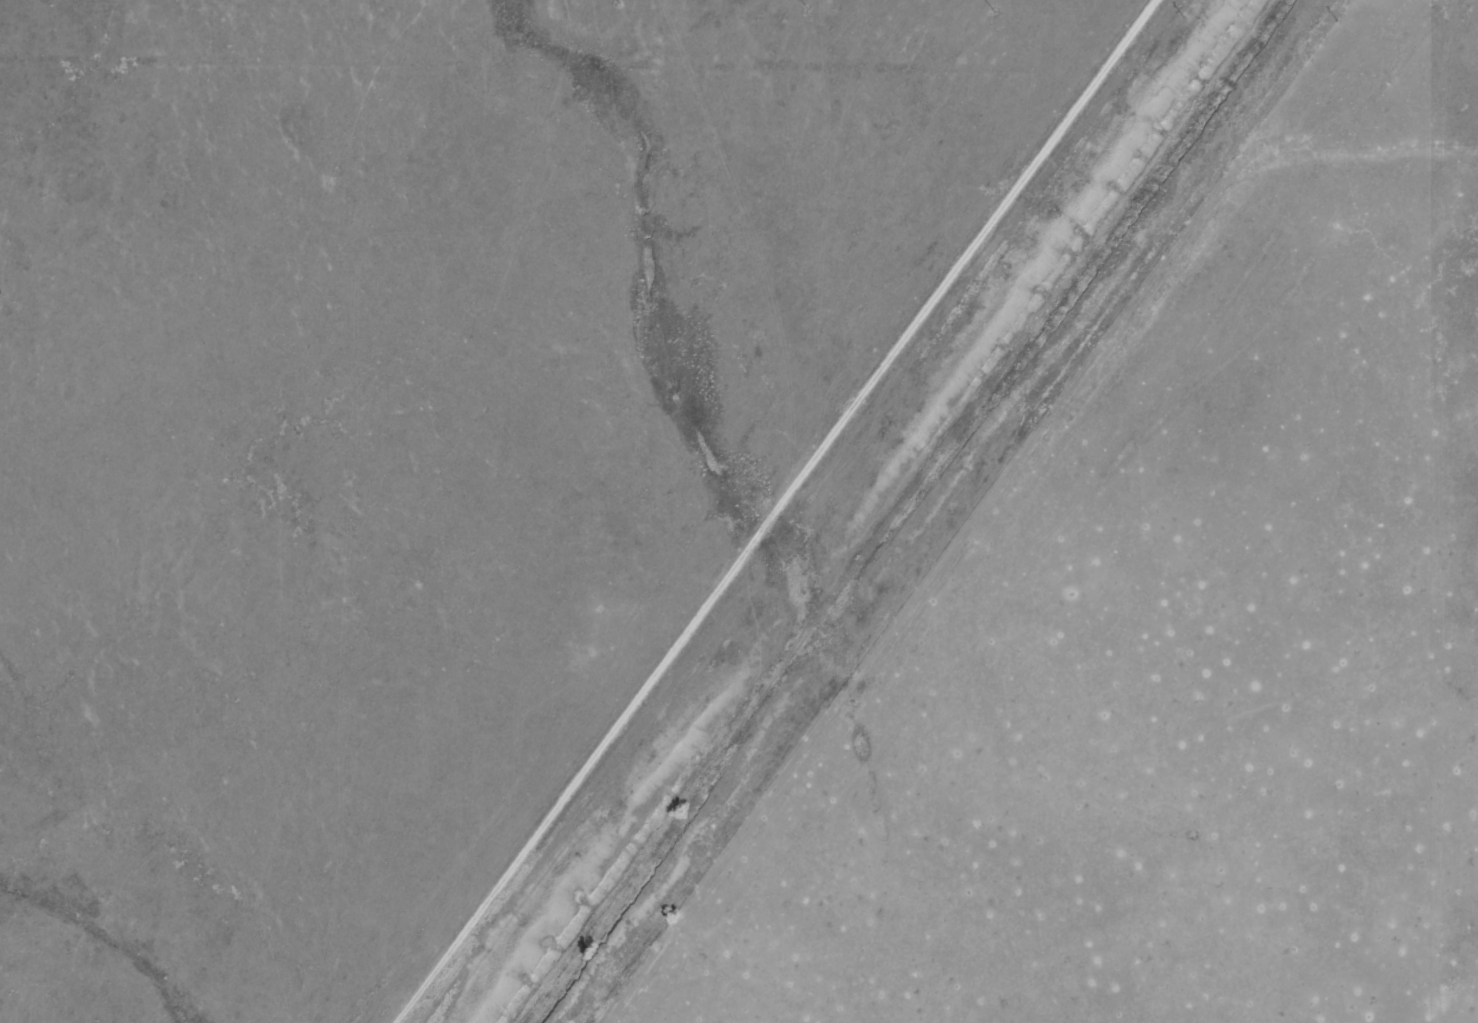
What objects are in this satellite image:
road: (786, 511)

